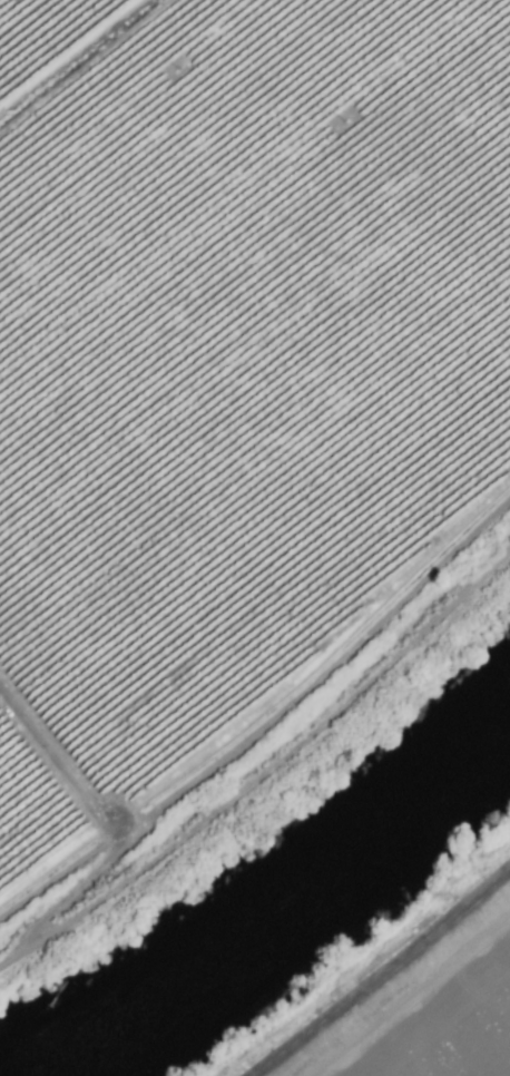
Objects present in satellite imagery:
crop: (233, 379)
road: (266, 772)
road: (111, 818)
road: (381, 972)
crop: (414, 998)

